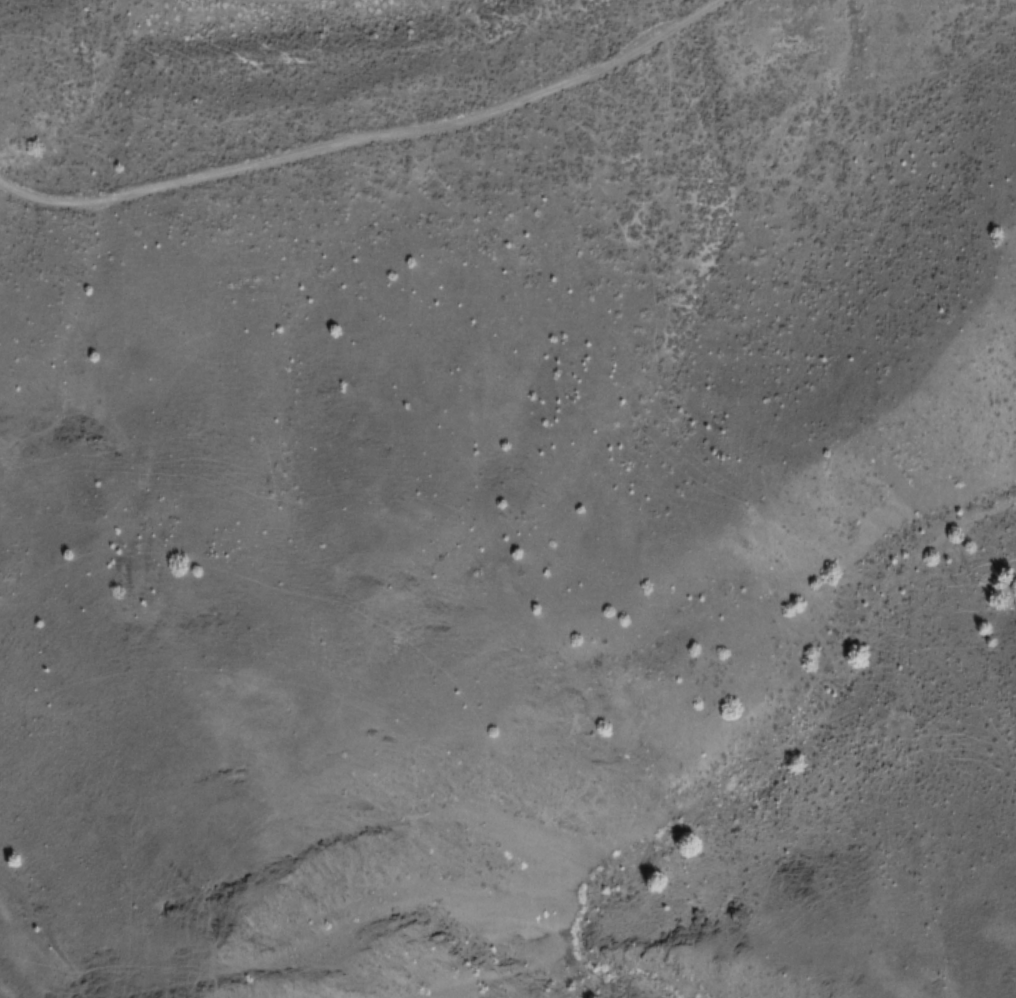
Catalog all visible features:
road: (367, 136)

